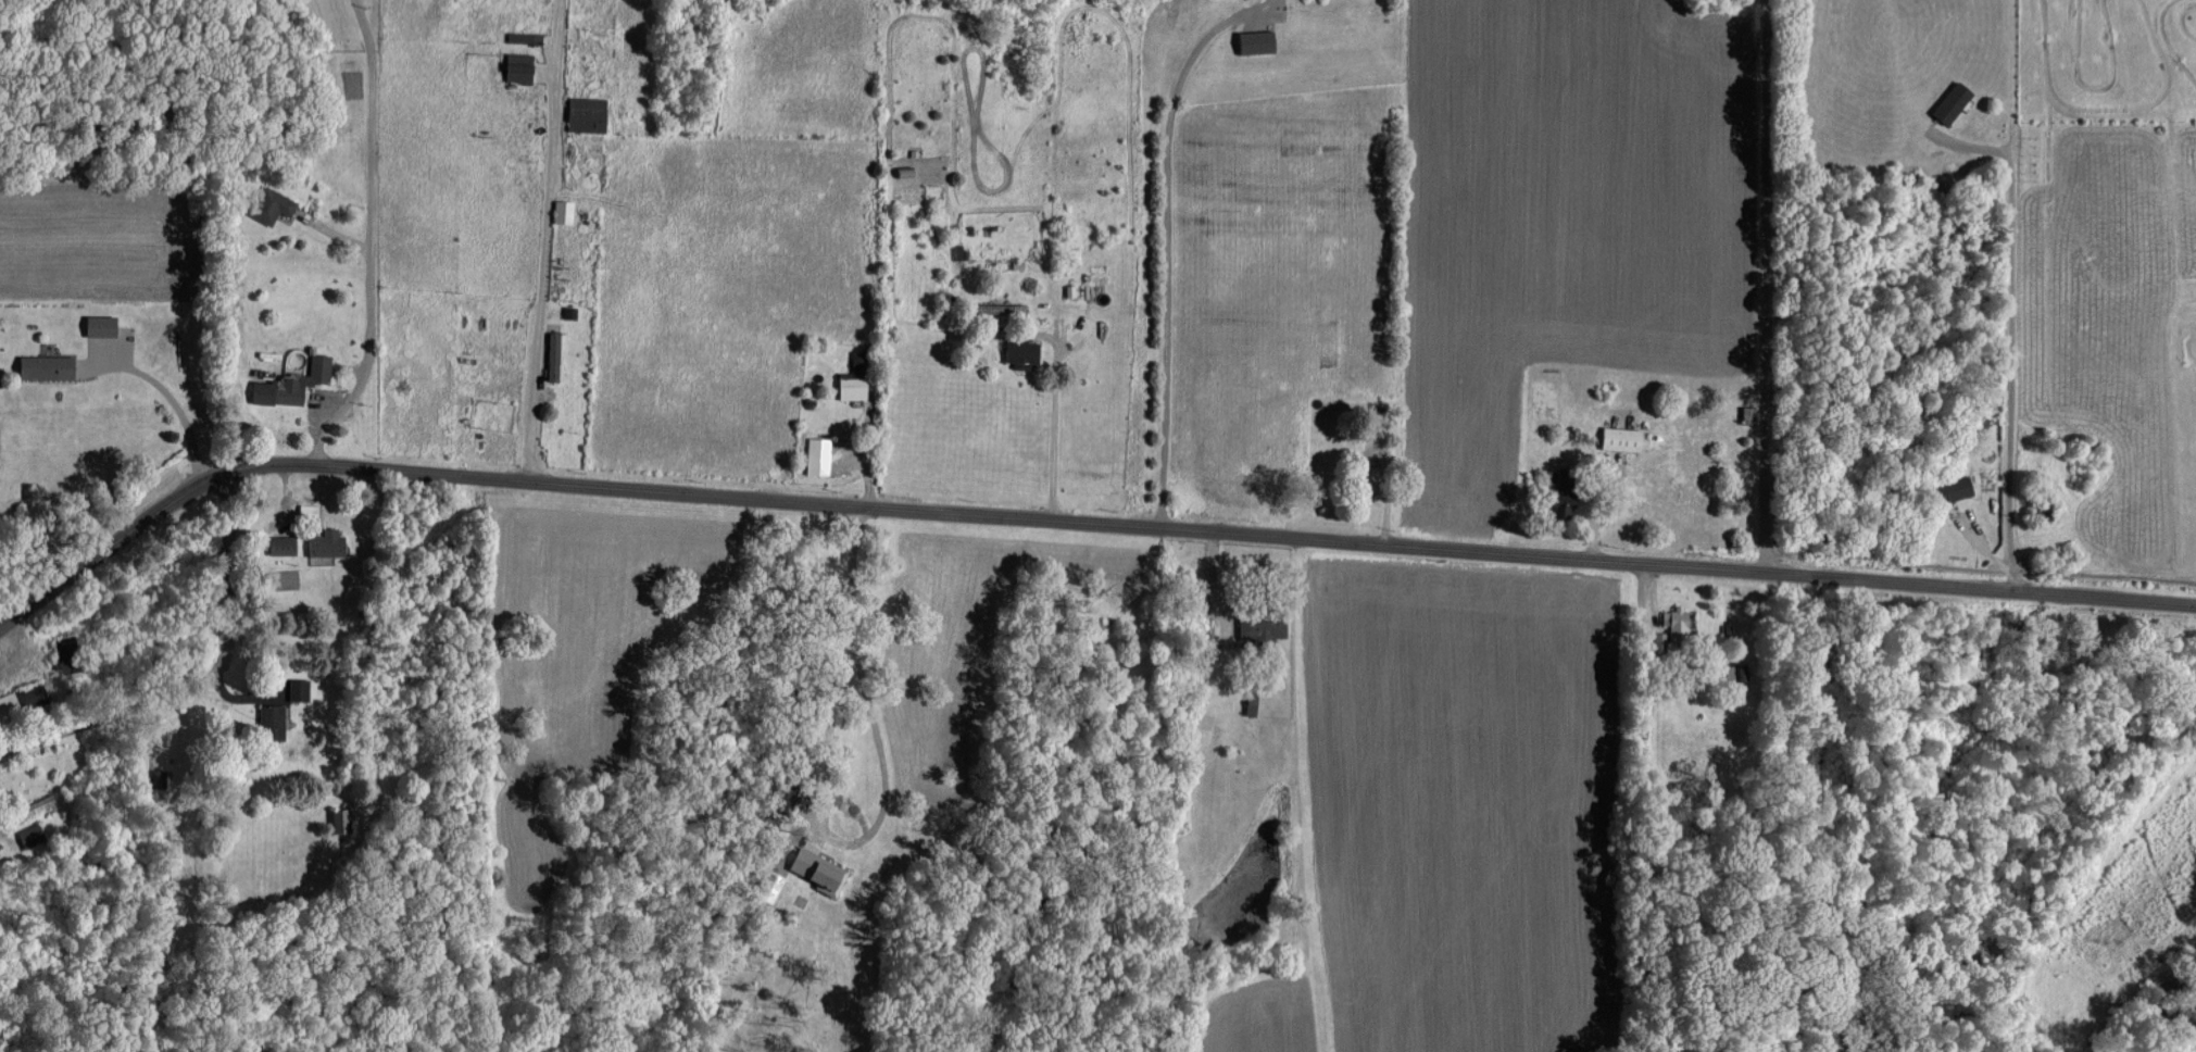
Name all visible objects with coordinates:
building: (522, 36)
building: (1258, 40)
building: (520, 66)
building: (1954, 101)
building: (588, 113)
building: (272, 204)
building: (564, 211)
road: (372, 240)
road: (1165, 242)
building: (958, 251)
road: (1760, 288)
building: (102, 325)
building: (1024, 351)
building: (554, 355)
road: (2008, 364)
building: (48, 366)
building: (856, 377)
building: (294, 383)
road: (1053, 434)
building: (1623, 438)
building: (819, 455)
building: (1961, 488)
building: (1566, 492)
road: (234, 501)
road: (1072, 524)
building: (327, 543)
building: (284, 544)
road: (1645, 594)
road: (231, 602)
building: (1678, 623)
building: (1264, 626)
building: (300, 689)
building: (35, 696)
road: (113, 716)
building: (273, 722)
road: (882, 794)
building: (40, 803)
building: (342, 821)
building: (30, 834)
building: (818, 868)

